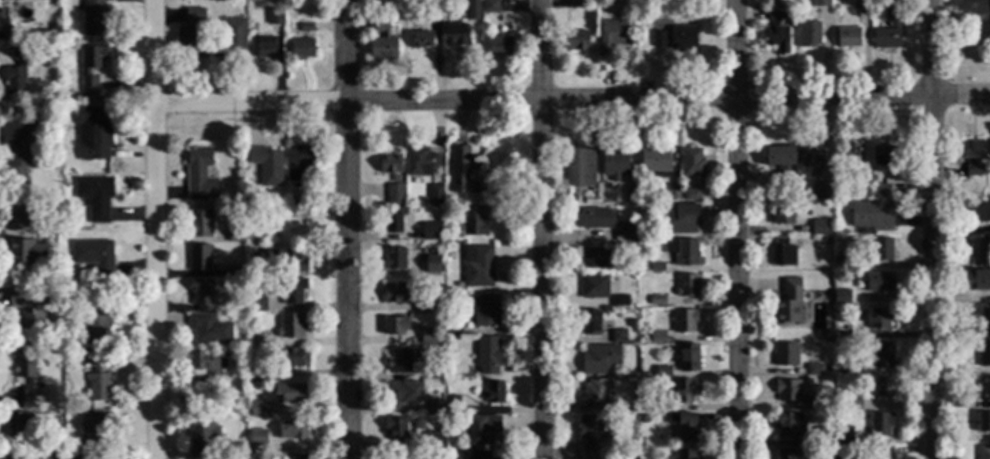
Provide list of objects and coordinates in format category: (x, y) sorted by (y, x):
building: (24, 0)
building: (277, 3)
building: (576, 4)
building: (821, 4)
building: (861, 4)
building: (473, 5)
building: (434, 7)
building: (489, 7)
building: (776, 7)
building: (92, 18)
building: (275, 18)
building: (50, 29)
building: (305, 29)
building: (888, 31)
building: (776, 34)
building: (614, 35)
building: (809, 35)
building: (192, 36)
building: (456, 36)
building: (848, 39)
building: (382, 40)
building: (676, 40)
building: (231, 41)
building: (420, 42)
building: (578, 42)
building: (496, 47)
building: (265, 49)
building: (301, 51)
building: (90, 68)
building: (15, 75)
road: (571, 100)
building: (92, 134)
building: (17, 152)
building: (811, 157)
building: (848, 157)
building: (883, 157)
building: (972, 157)
building: (299, 163)
building: (419, 163)
building: (655, 163)
building: (691, 164)
building: (389, 165)
building: (614, 165)
building: (266, 166)
building: (781, 166)
building: (580, 168)
building: (461, 172)
building: (199, 175)
building: (861, 191)
building: (879, 192)
building: (822, 193)
building: (672, 194)
building: (394, 195)
building: (630, 195)
building: (434, 196)
building: (690, 196)
building: (94, 198)
building: (255, 202)
building: (293, 205)
building: (978, 213)
road: (287, 215)
building: (782, 216)
building: (870, 216)
building: (596, 219)
building: (393, 221)
building: (679, 221)
building: (472, 223)
building: (199, 225)
road: (153, 229)
road: (346, 229)
road: (540, 229)
road: (737, 229)
building: (819, 229)
road: (932, 229)
building: (431, 232)
building: (628, 233)
building: (236, 236)
building: (22, 242)
building: (628, 247)
building: (979, 248)
building: (880, 251)
building: (686, 254)
building: (782, 254)
building: (93, 258)
building: (199, 259)
building: (393, 259)
building: (596, 260)
building: (287, 262)
building: (843, 262)
building: (433, 265)
building: (655, 267)
building: (477, 268)
building: (236, 273)
building: (974, 281)
building: (878, 283)
building: (686, 286)
building: (593, 288)
building: (393, 293)
building: (201, 295)
building: (291, 295)
building: (846, 300)
building: (656, 301)
building: (619, 302)
building: (259, 304)
building: (432, 304)
building: (788, 304)
building: (485, 312)
building: (28, 314)
building: (879, 319)
building: (979, 321)
building: (685, 322)
building: (96, 323)
building: (590, 323)
building: (290, 327)
building: (396, 327)
building: (451, 327)
building: (846, 329)
building: (209, 330)
building: (825, 336)
building: (427, 337)
building: (835, 337)
building: (846, 337)
building: (617, 338)
building: (656, 338)
building: (644, 339)
building: (255, 340)
building: (53, 346)
building: (984, 355)
building: (486, 356)
building: (784, 356)
building: (881, 357)
building: (687, 358)
building: (292, 359)
building: (599, 360)
building: (400, 361)
building: (99, 362)
building: (205, 369)
building: (814, 371)
building: (662, 373)
building: (850, 373)
building: (25, 374)
building: (257, 375)
building: (434, 375)
building: (97, 383)
building: (844, 384)
building: (883, 389)
building: (984, 389)
building: (789, 390)
building: (684, 392)
building: (493, 393)
building: (289, 394)
building: (402, 394)
building: (595, 396)
building: (814, 406)
building: (853, 406)
building: (650, 407)
building: (434, 408)
building: (256, 410)
building: (451, 410)
building: (643, 420)
building: (983, 424)
building: (18, 425)
building: (880, 425)
building: (683, 427)
building: (786, 427)
building: (394, 428)
building: (293, 430)
building: (482, 430)
building: (92, 431)
building: (592, 435)
building: (199, 437)
building: (257, 438)
building: (823, 438)
building: (842, 441)
building: (436, 445)
building: (877, 453)
building: (983, 453)
building: (50, 454)
building: (784, 454)
building: (474, 455)
building: (685, 455)
building: (285, 456)
building: (394, 456)
building: (827, 456)
building: (72, 457)

